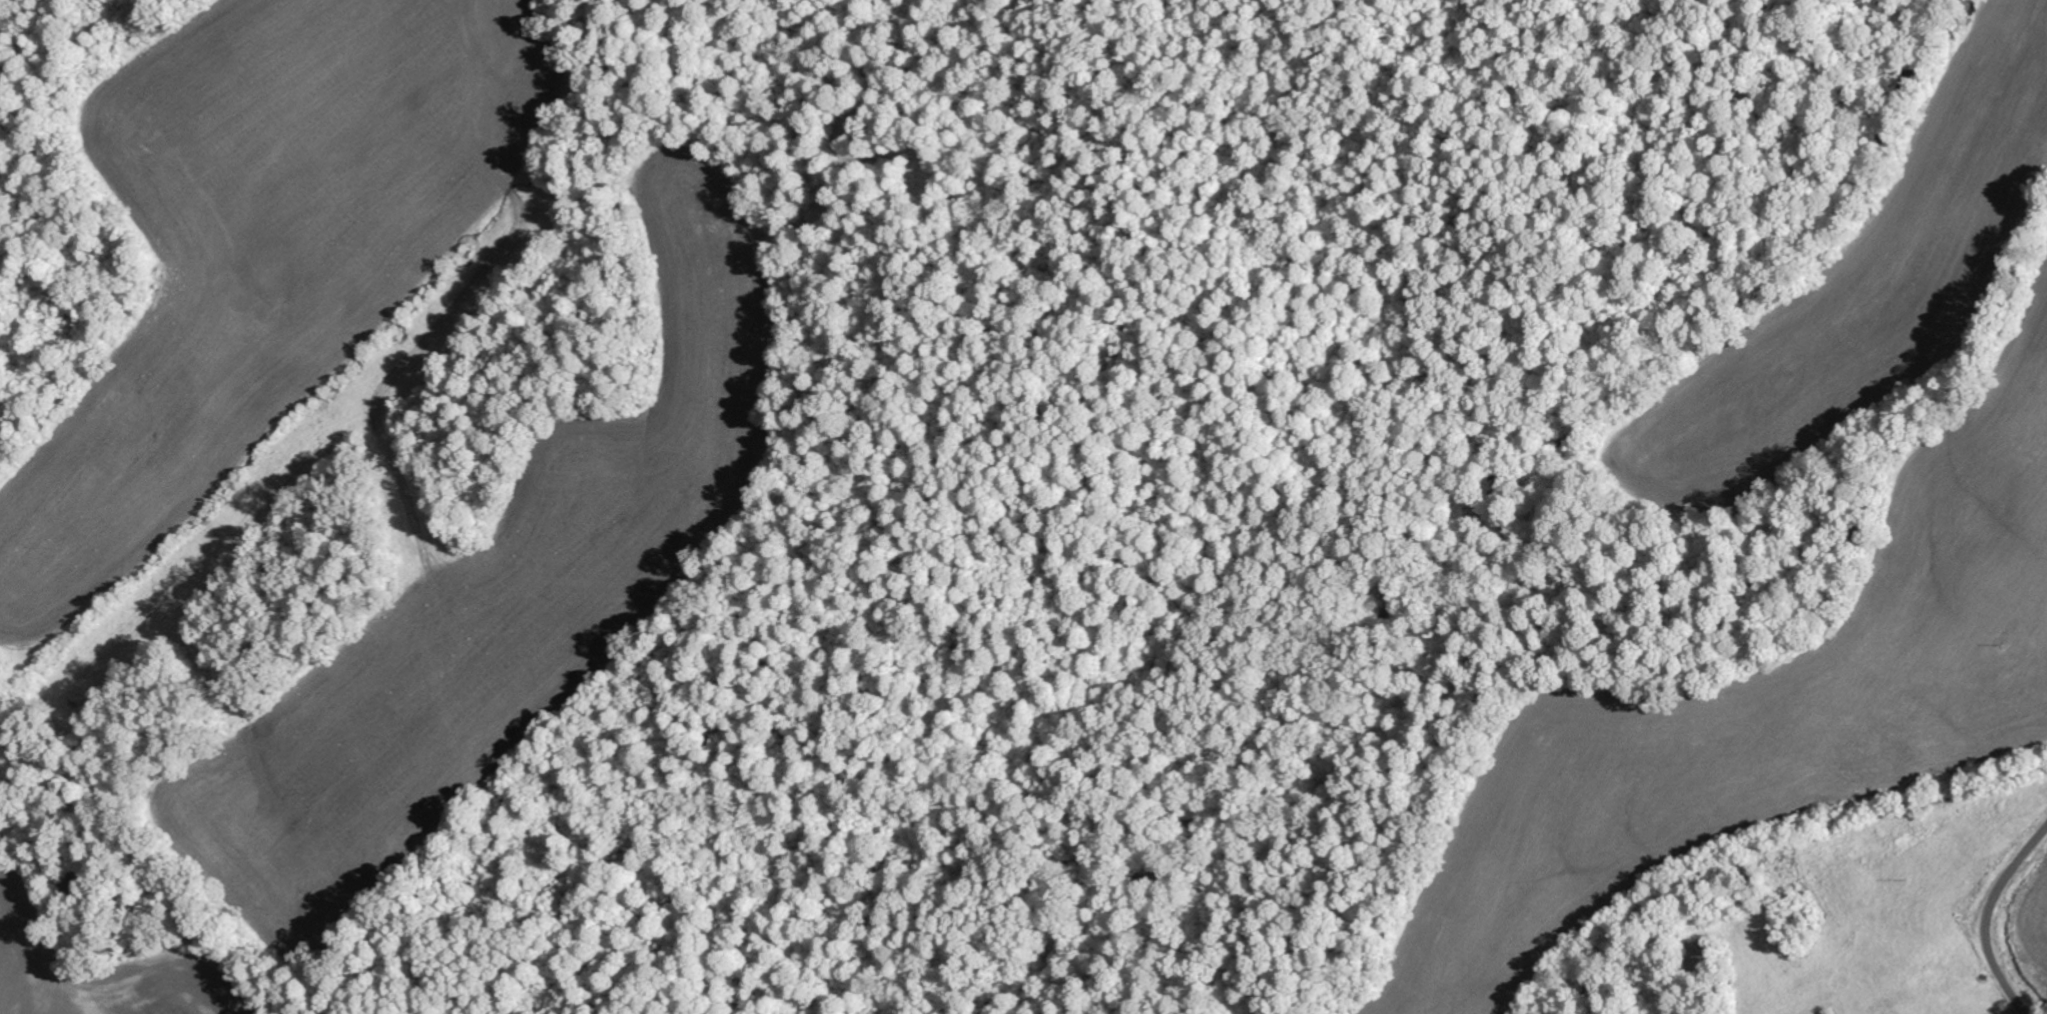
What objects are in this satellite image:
road: (1990, 916)

